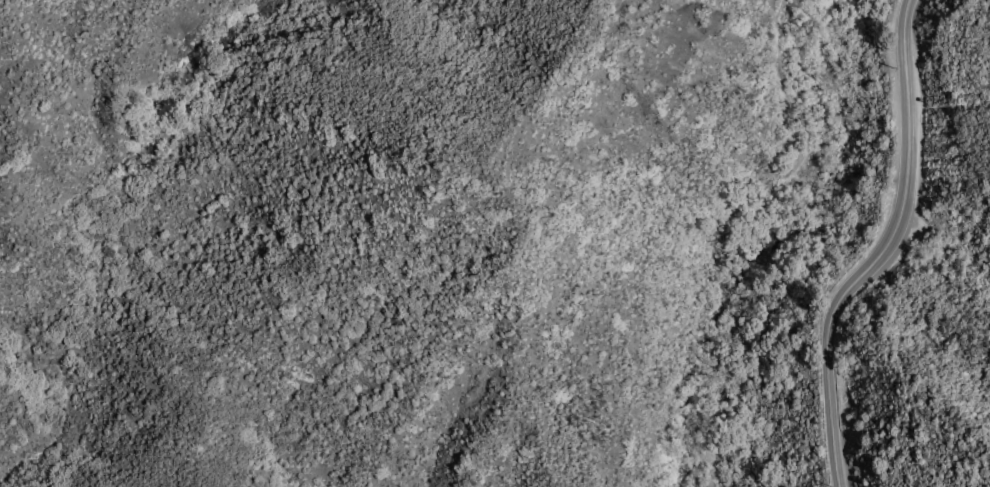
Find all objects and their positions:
road: (785, 237)
road: (882, 250)

